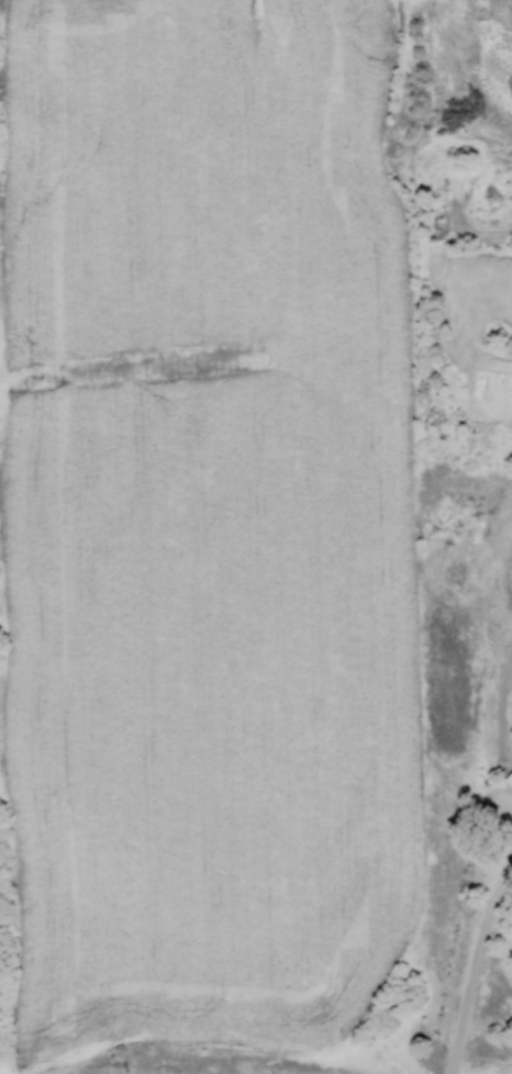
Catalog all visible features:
crop: (207, 526)
building: (509, 779)
road: (474, 971)

